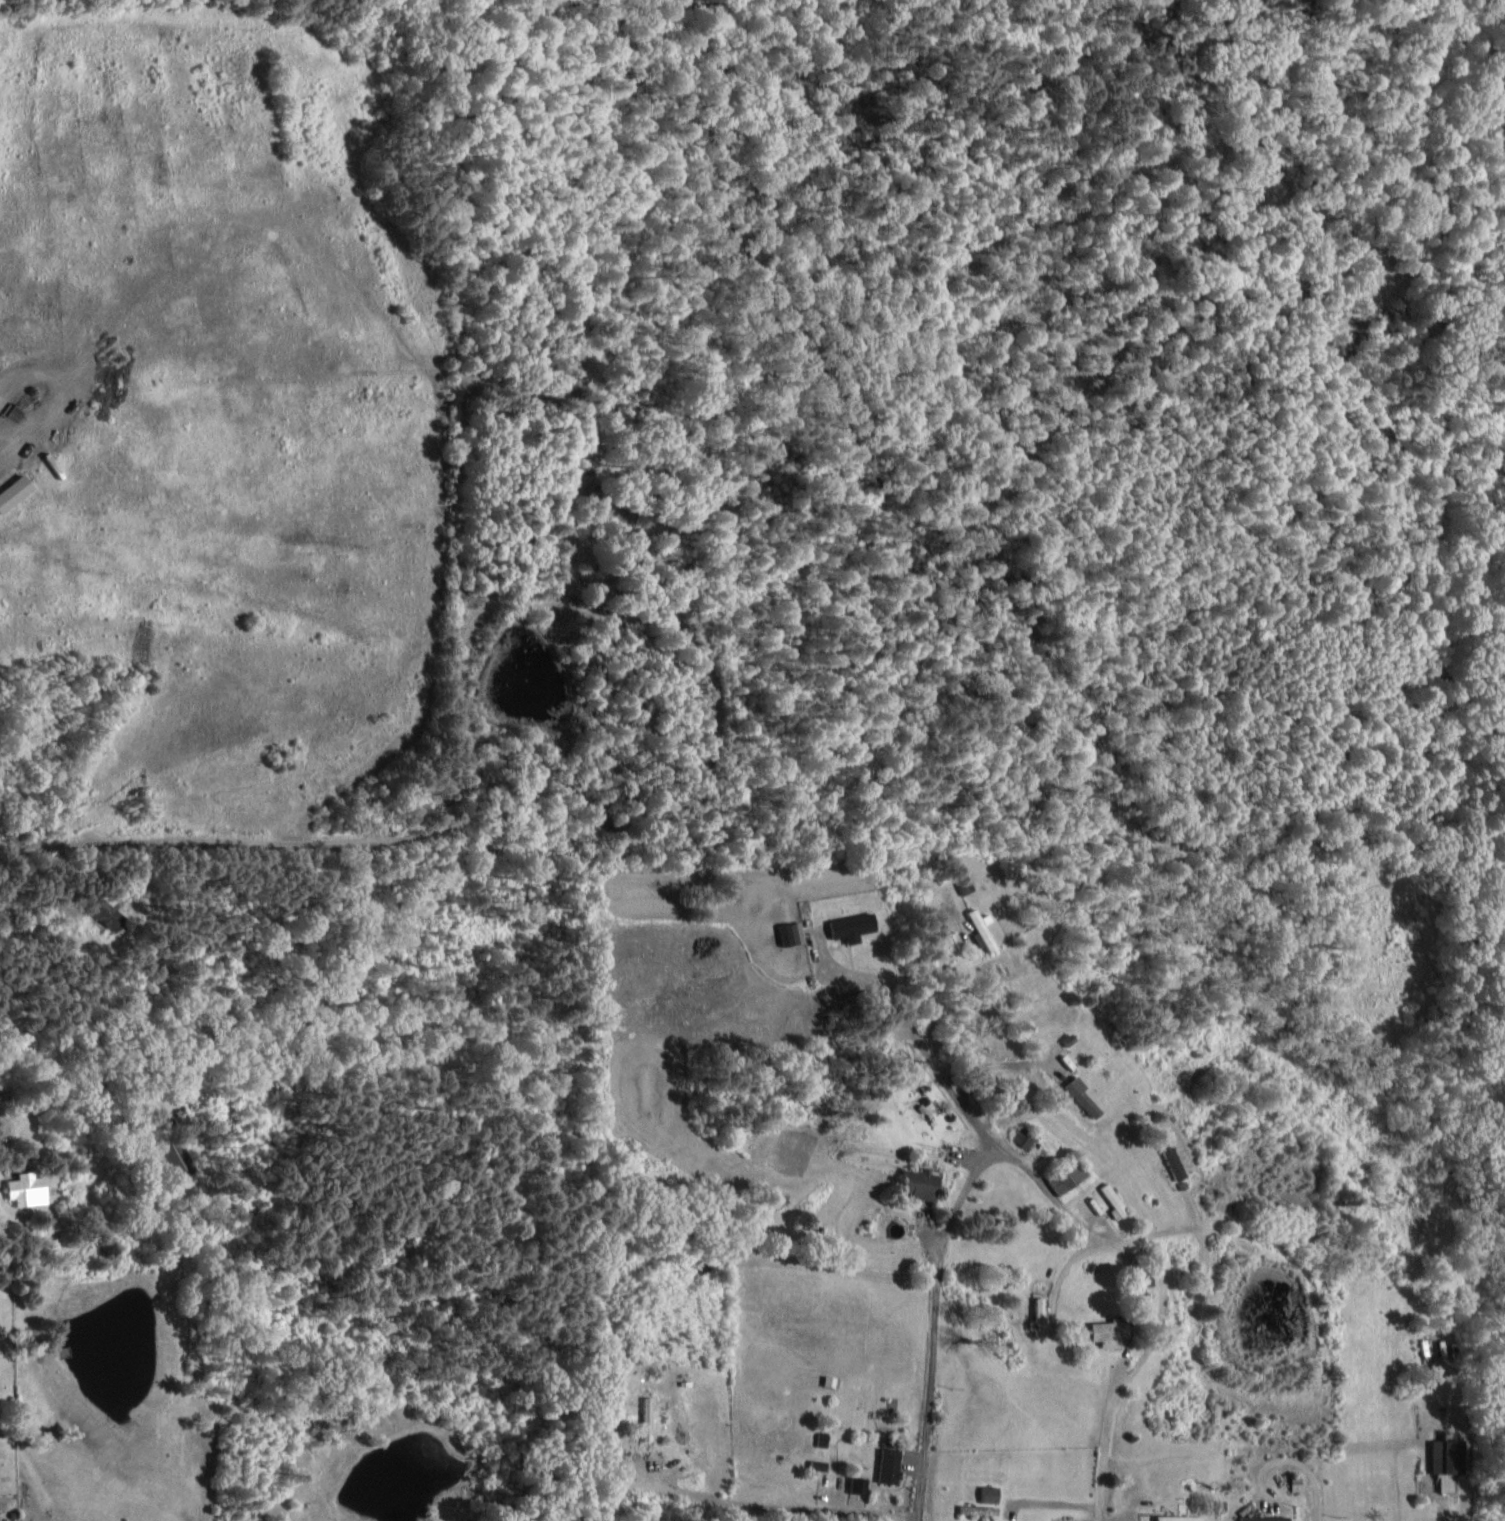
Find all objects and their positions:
building: (11, 488)
building: (961, 884)
building: (96, 908)
building: (847, 925)
building: (978, 928)
building: (787, 932)
building: (1077, 1094)
building: (1019, 1137)
building: (1167, 1157)
building: (171, 1160)
building: (1059, 1177)
building: (915, 1182)
building: (23, 1188)
building: (1109, 1200)
building: (1036, 1315)
building: (1106, 1329)
road: (931, 1349)
building: (643, 1416)
building: (820, 1437)
road: (1105, 1455)
building: (1443, 1458)
building: (885, 1464)
building: (859, 1483)
building: (985, 1492)
building: (1260, 1517)

